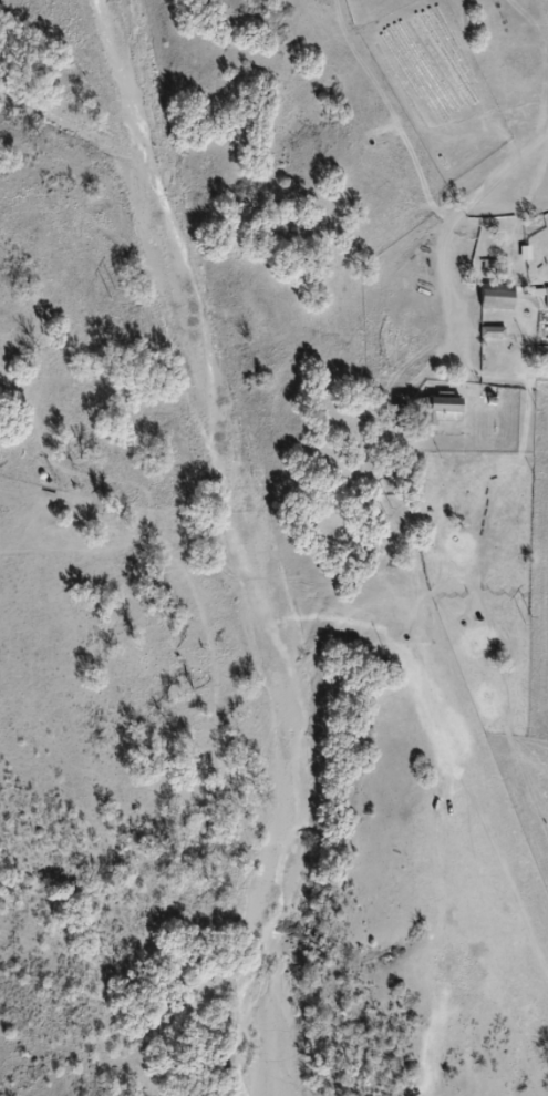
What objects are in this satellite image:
road: (402, 181)
power tower: (124, 294)
building: (500, 297)
building: (445, 409)
building: (403, 416)
road: (445, 439)
power tower: (396, 509)
power tower: (533, 621)

